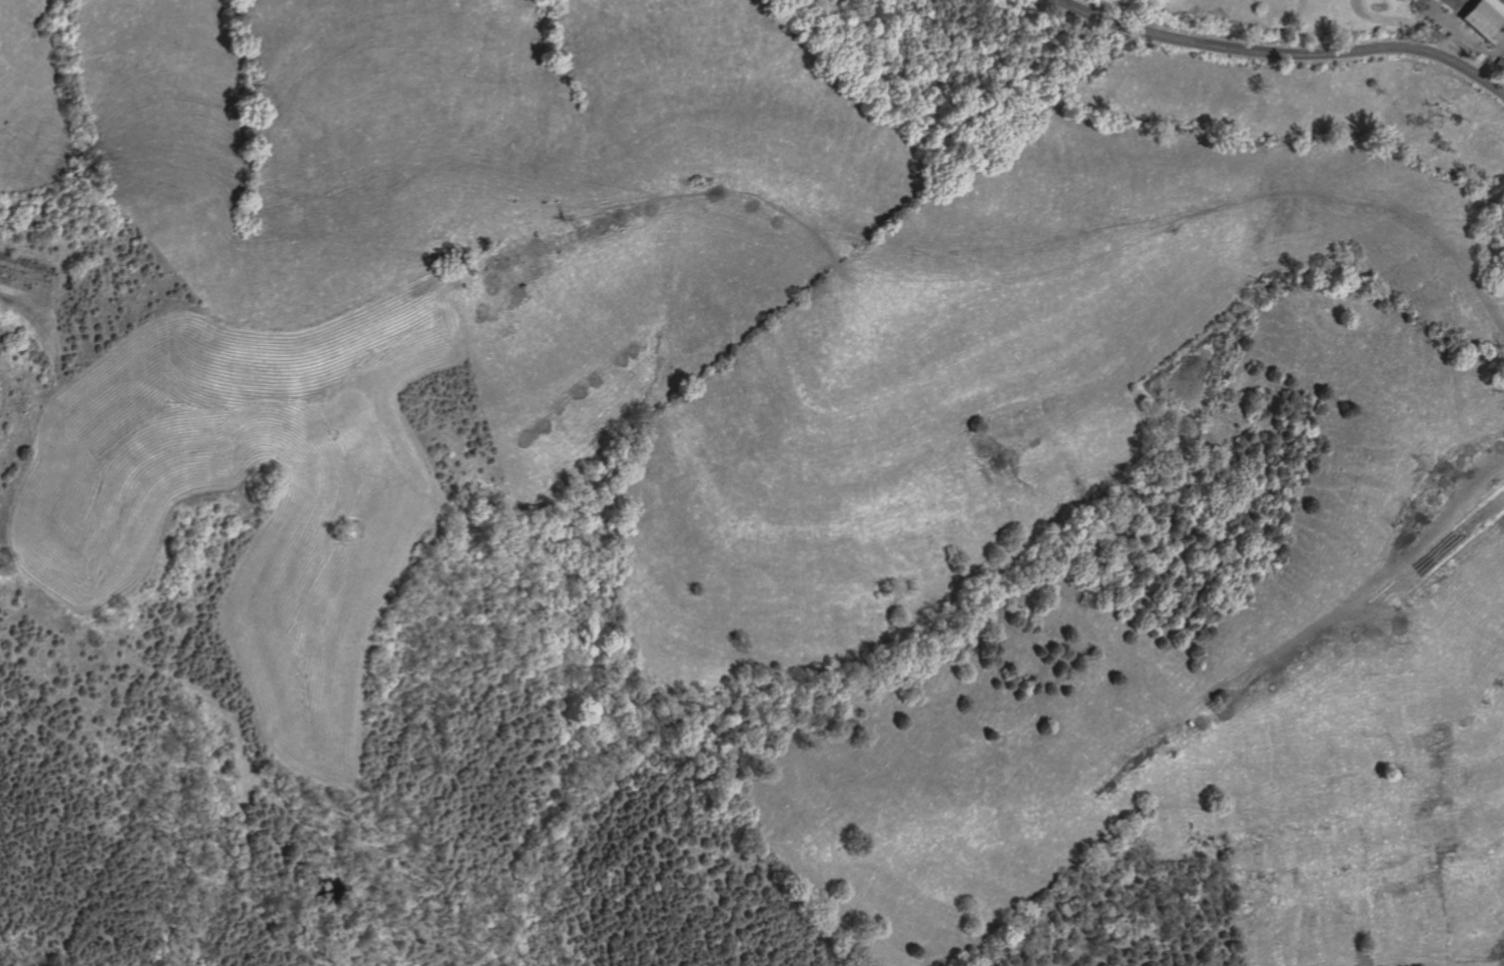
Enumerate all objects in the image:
building: (1479, 17)
road: (1389, 19)
road: (1502, 26)
road: (1463, 37)
road: (1285, 53)
building: (1474, 56)
building: (1498, 67)
road: (971, 273)
road: (1337, 618)

